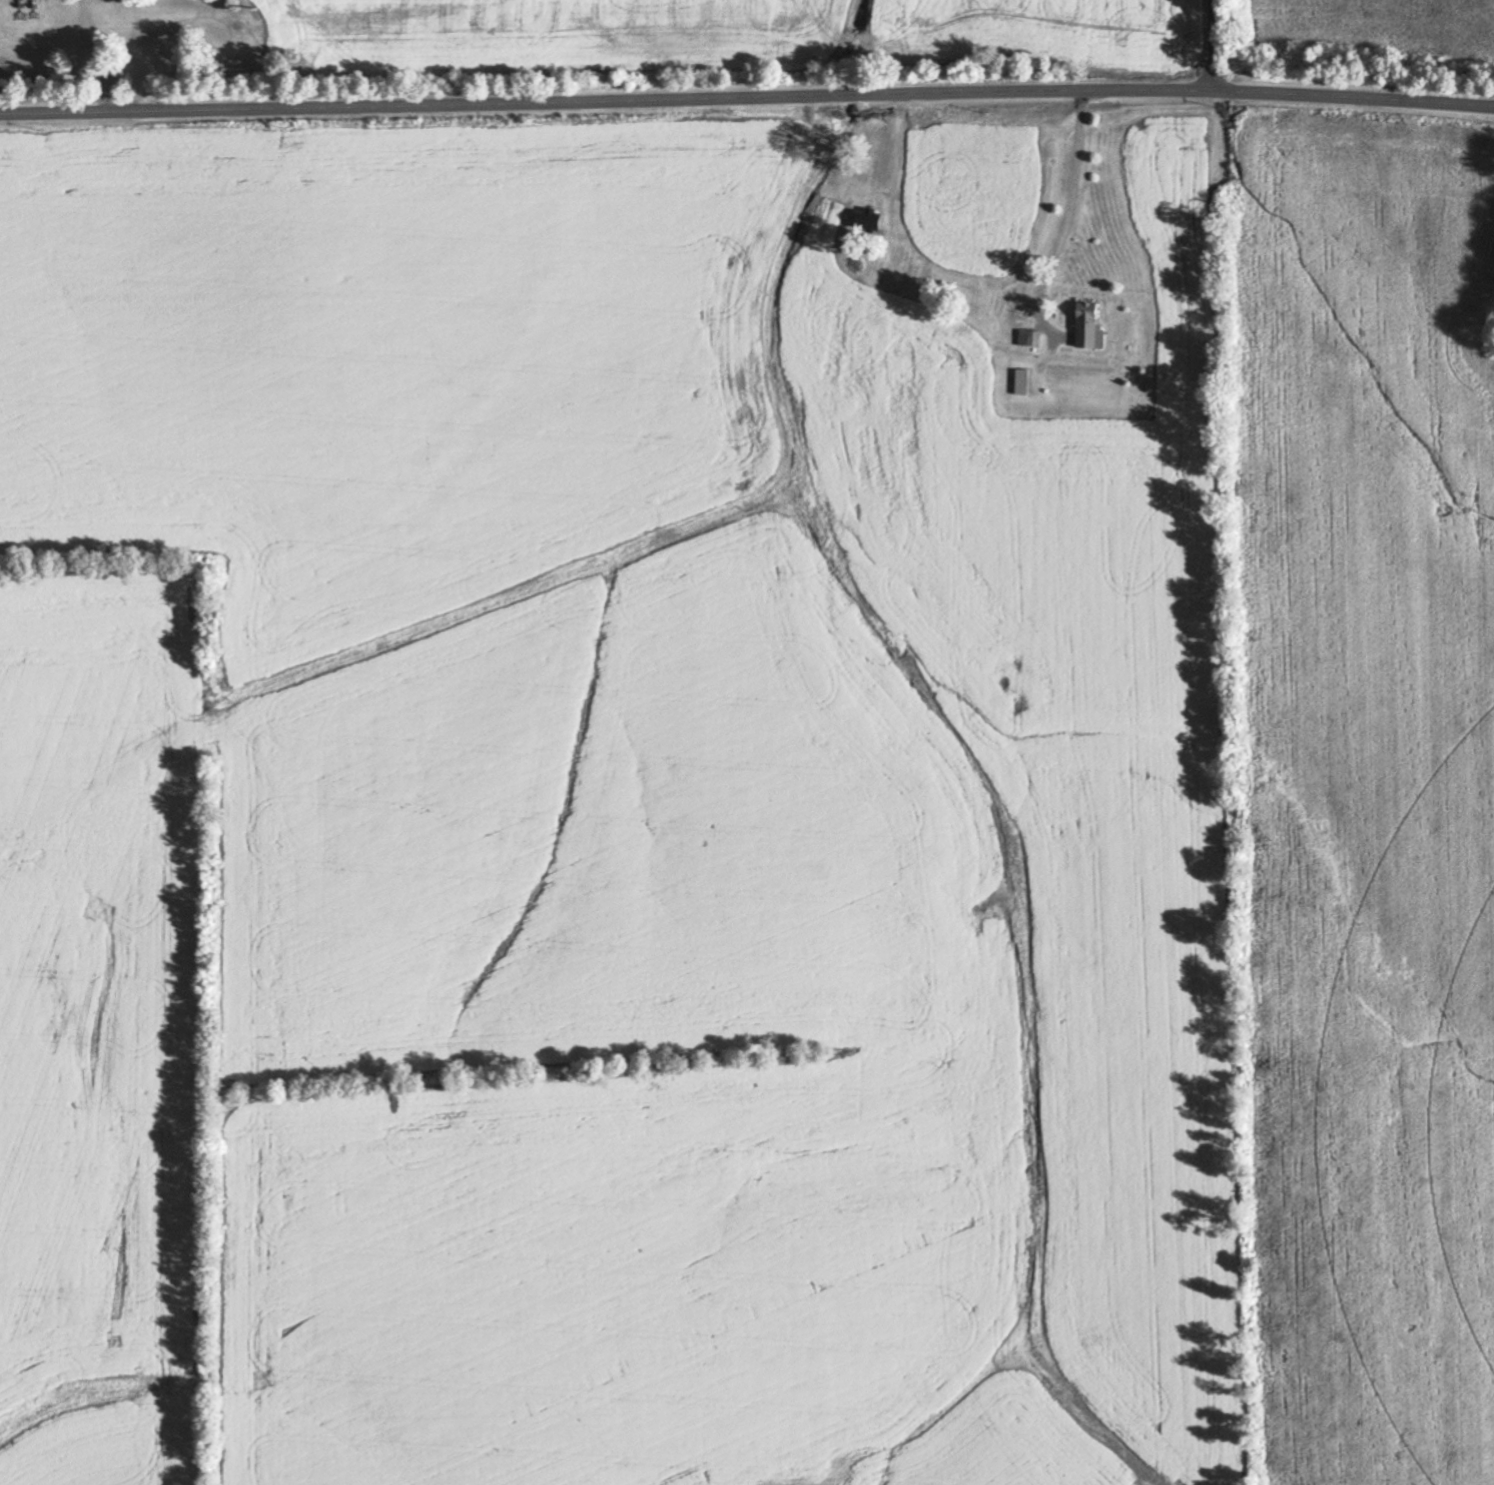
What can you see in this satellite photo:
road: (1214, 44)
road: (747, 95)
building: (871, 220)
building: (1091, 326)
building: (1031, 339)
building: (1024, 383)

